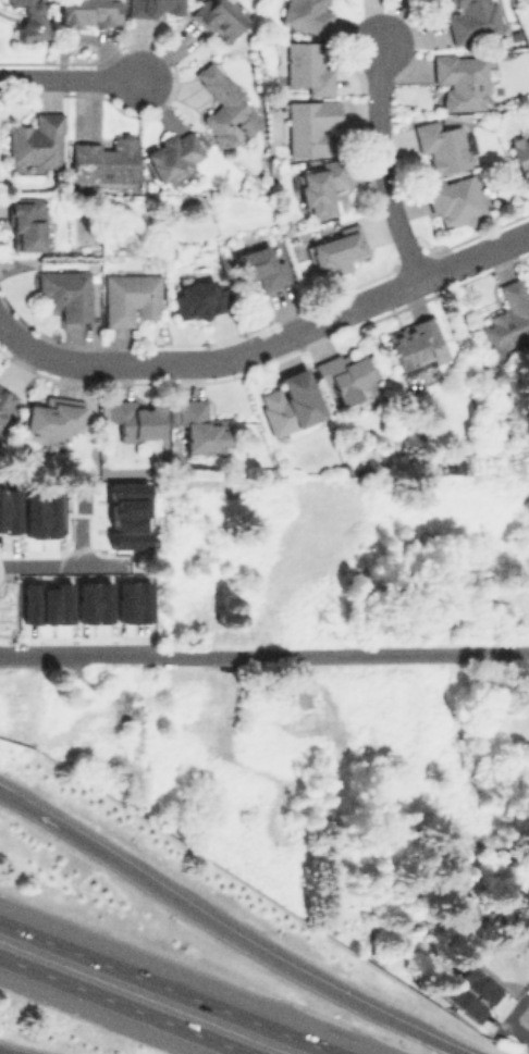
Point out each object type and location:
building: (153, 7)
building: (88, 12)
building: (305, 15)
building: (218, 17)
building: (28, 20)
building: (471, 20)
building: (306, 66)
building: (460, 79)
road: (67, 80)
building: (224, 107)
building: (309, 125)
building: (35, 140)
building: (441, 146)
building: (173, 153)
building: (520, 156)
building: (103, 161)
road: (382, 162)
building: (321, 186)
building: (454, 200)
building: (25, 223)
building: (335, 249)
building: (259, 268)
building: (64, 293)
building: (130, 297)
building: (198, 299)
building: (506, 320)
road: (4, 325)
road: (274, 340)
building: (413, 340)
building: (344, 375)
building: (4, 397)
building: (291, 401)
building: (52, 417)
building: (133, 419)
building: (200, 427)
building: (8, 510)
road: (50, 563)
building: (91, 600)
building: (132, 602)
building: (45, 603)
road: (264, 654)
road: (226, 931)
road: (167, 988)
building: (469, 996)
road: (123, 1005)
road: (513, 1009)
road: (517, 1029)
road: (7, 1052)

